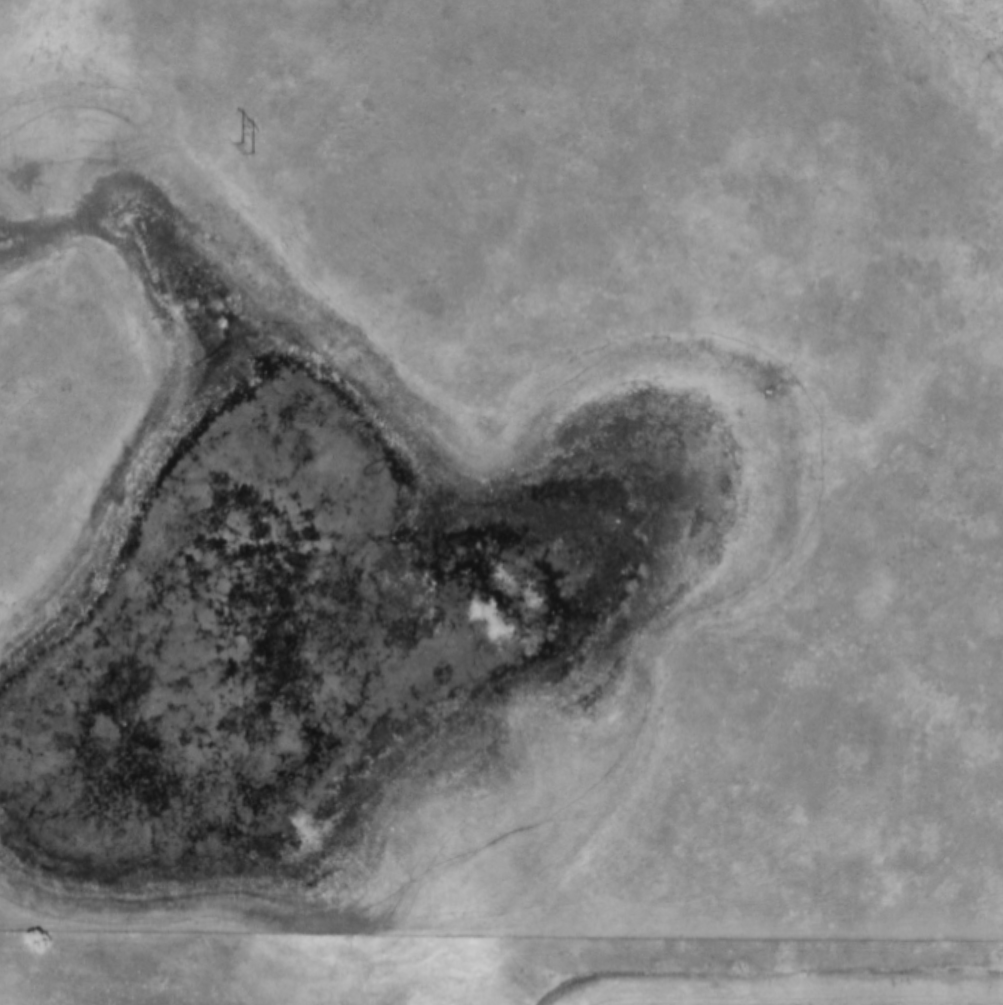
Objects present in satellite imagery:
power tower: (251, 146)

